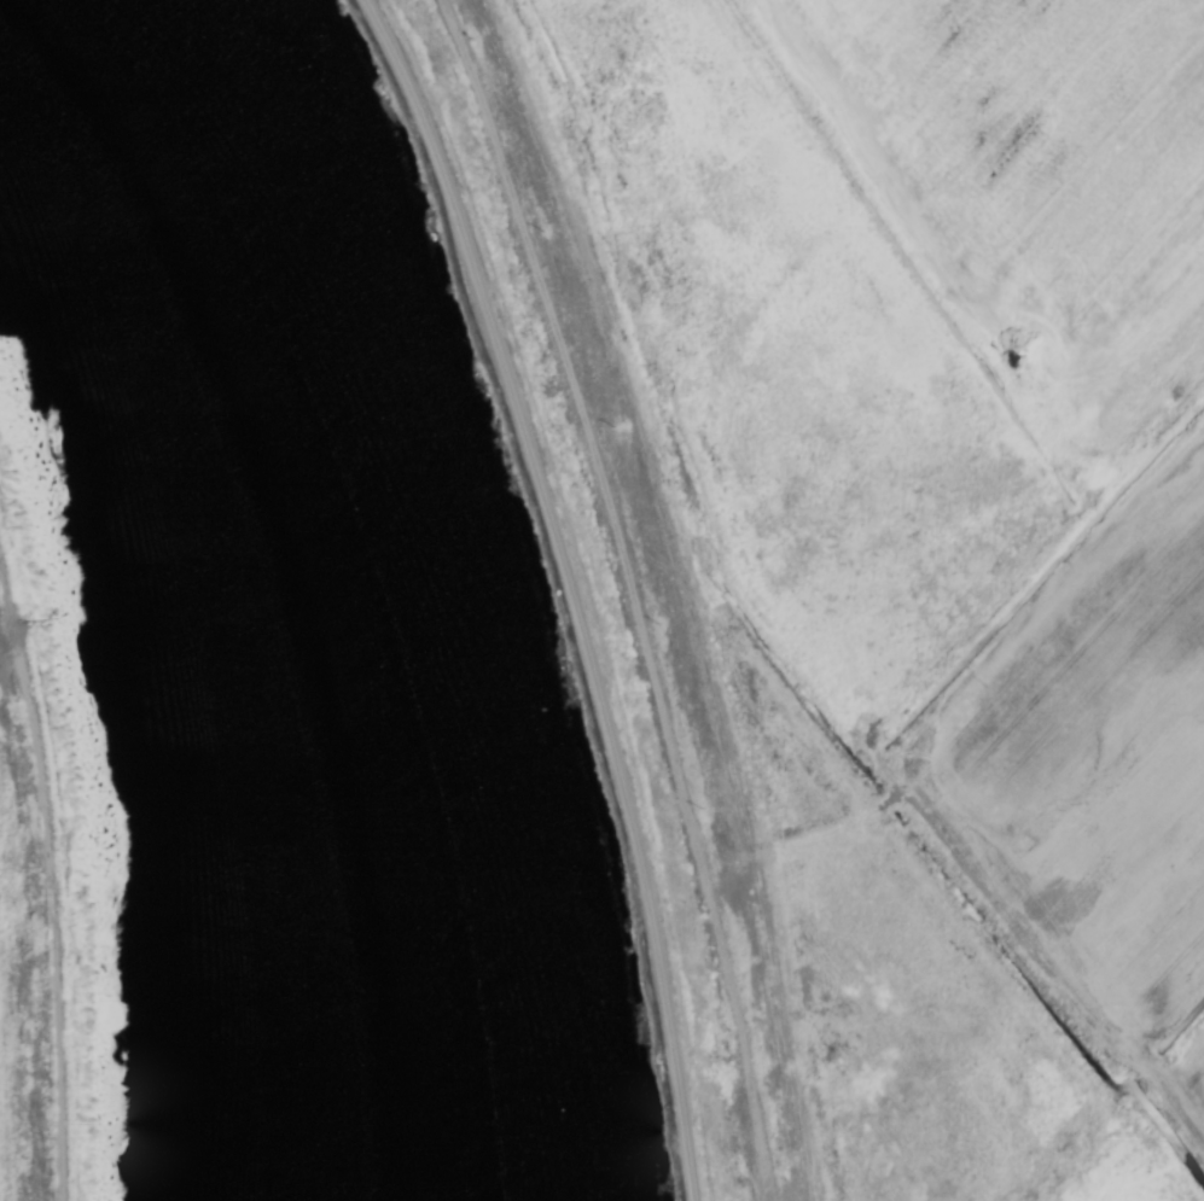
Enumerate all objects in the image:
crop: (930, 538)
river: (262, 578)
road: (574, 589)
crop: (14, 1040)

